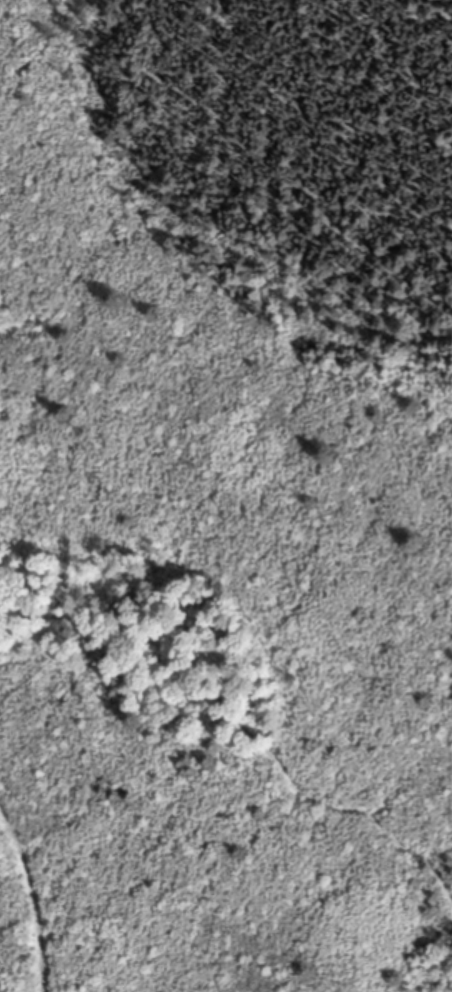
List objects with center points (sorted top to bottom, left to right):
road: (23, 903)

